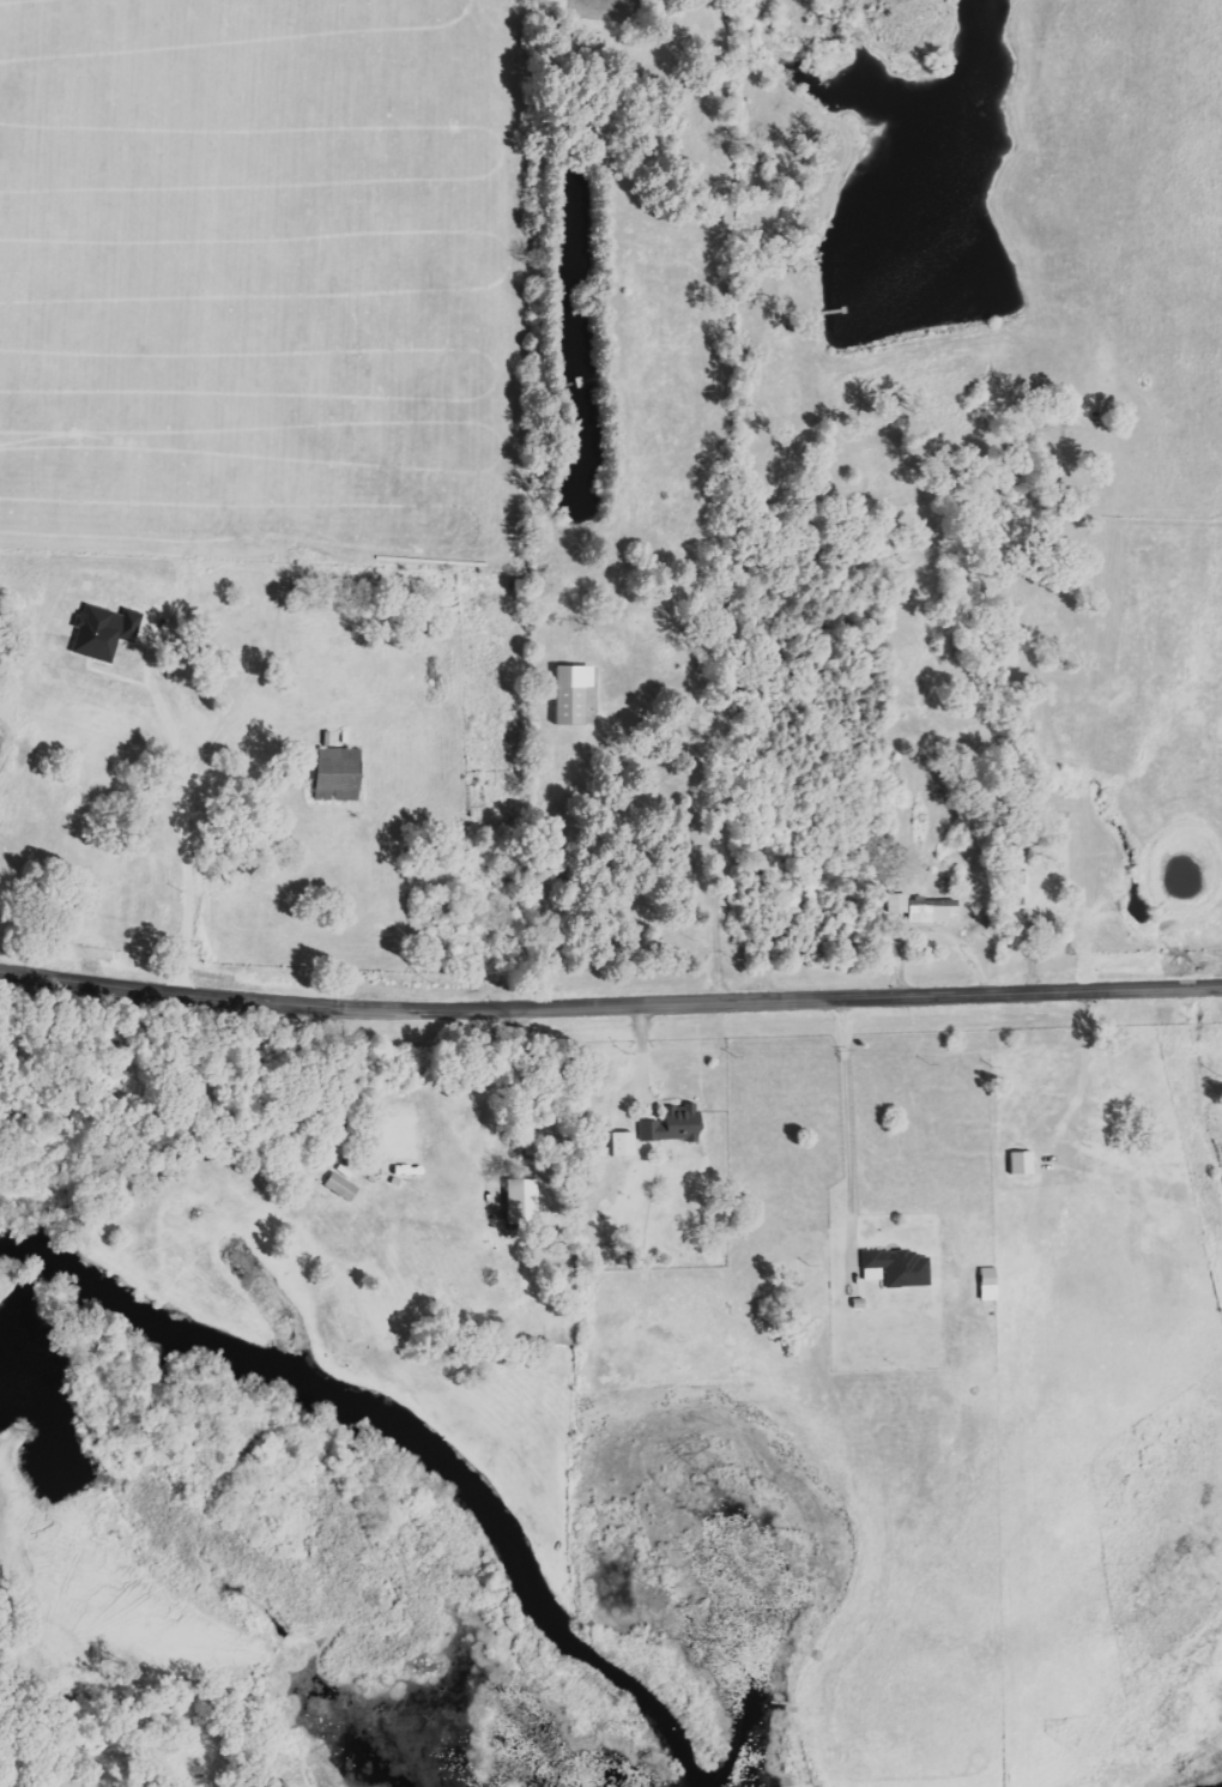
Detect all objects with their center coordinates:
building: (103, 632)
building: (570, 695)
building: (337, 774)
road: (184, 805)
building: (897, 904)
building: (933, 910)
road: (610, 1003)
road: (1082, 1075)
building: (673, 1124)
road: (848, 1135)
building: (623, 1143)
building: (1021, 1163)
road: (512, 1166)
building: (340, 1187)
building: (521, 1200)
building: (896, 1268)
building: (988, 1284)

